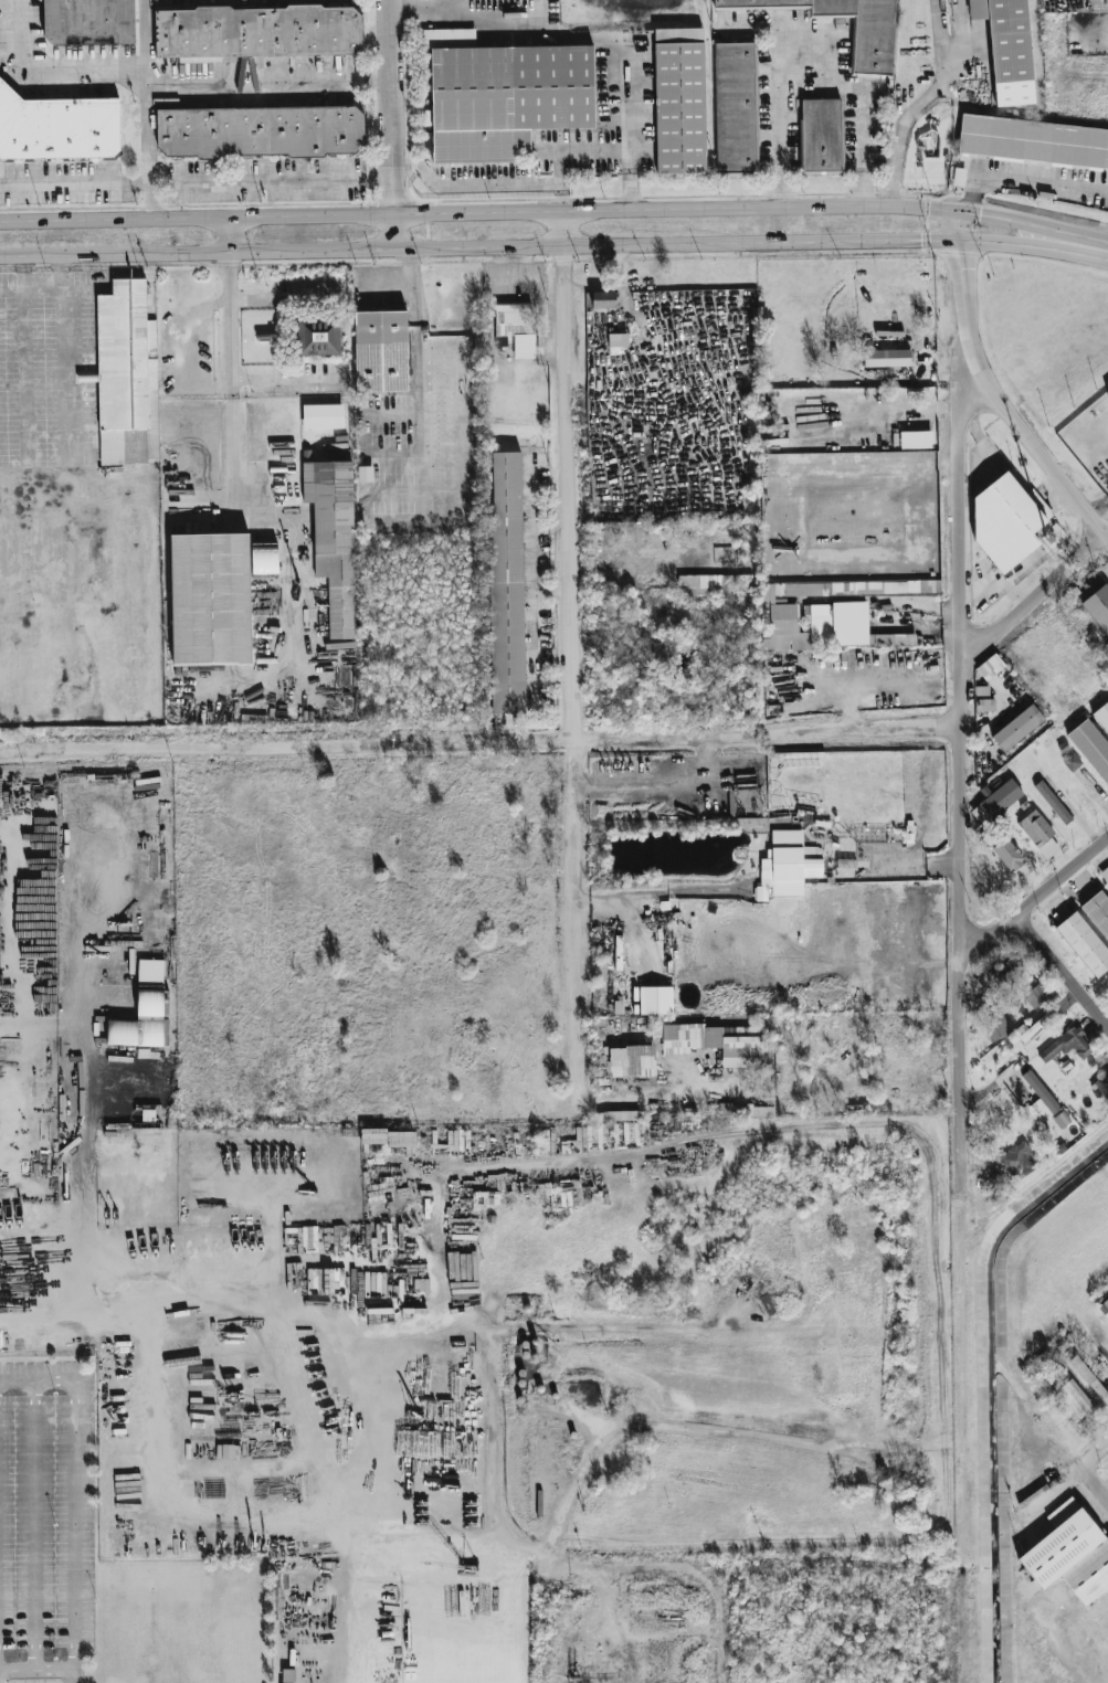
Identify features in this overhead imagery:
building: (1105, 1)
road: (457, 3)
road: (424, 7)
road: (500, 21)
building: (88, 22)
road: (805, 30)
building: (257, 32)
building: (1005, 38)
road: (145, 39)
building: (873, 45)
road: (52, 71)
road: (624, 75)
road: (270, 77)
road: (822, 88)
building: (500, 96)
building: (679, 102)
road: (924, 103)
building: (735, 108)
road: (782, 119)
road: (394, 125)
building: (57, 127)
building: (260, 133)
building: (820, 136)
building: (1033, 142)
road: (864, 147)
road: (147, 149)
road: (578, 149)
road: (198, 181)
road: (1022, 181)
road: (487, 184)
road: (540, 212)
road: (226, 236)
traffic signals: (957, 240)
road: (538, 247)
road: (1091, 247)
road: (411, 267)
road: (387, 285)
building: (603, 299)
road: (282, 300)
building: (515, 329)
building: (317, 337)
building: (618, 339)
building: (380, 352)
building: (886, 358)
road: (416, 368)
building: (126, 375)
road: (283, 380)
road: (993, 392)
building: (1107, 392)
building: (1107, 396)
building: (321, 416)
building: (916, 440)
building: (365, 474)
road: (566, 475)
road: (233, 476)
road: (959, 498)
building: (1004, 520)
building: (333, 538)
road: (532, 547)
building: (925, 567)
building: (506, 582)
building: (734, 582)
building: (699, 585)
road: (50, 588)
building: (210, 600)
road: (1033, 601)
building: (1098, 607)
building: (827, 615)
road: (535, 649)
building: (990, 667)
road: (862, 684)
building: (983, 700)
building: (1101, 717)
building: (1017, 728)
road: (481, 740)
building: (1091, 748)
building: (1072, 762)
building: (995, 802)
building: (1053, 802)
road: (961, 813)
building: (1038, 834)
building: (1009, 855)
building: (788, 864)
building: (1106, 872)
road: (1036, 901)
building: (1097, 912)
road: (573, 931)
building: (1084, 944)
building: (996, 972)
road: (1063, 974)
building: (1035, 996)
building: (655, 1001)
building: (144, 1010)
building: (994, 1025)
building: (1033, 1029)
building: (711, 1044)
building: (1067, 1046)
road: (960, 1056)
building: (632, 1061)
building: (768, 1079)
building: (1102, 1084)
building: (1038, 1100)
building: (747, 1111)
building: (1055, 1124)
building: (1017, 1161)
road: (555, 1168)
building: (1106, 1303)
road: (588, 1329)
building: (1089, 1378)
road: (493, 1386)
building: (1073, 1400)
road: (1059, 1481)
road: (1095, 1481)
road: (76, 1486)
parking lot: (46, 1514)
road: (33, 1525)
building: (1069, 1554)
road: (639, 1570)
road: (720, 1627)
road: (70, 1663)
road: (42, 1669)
road: (2, 1682)

